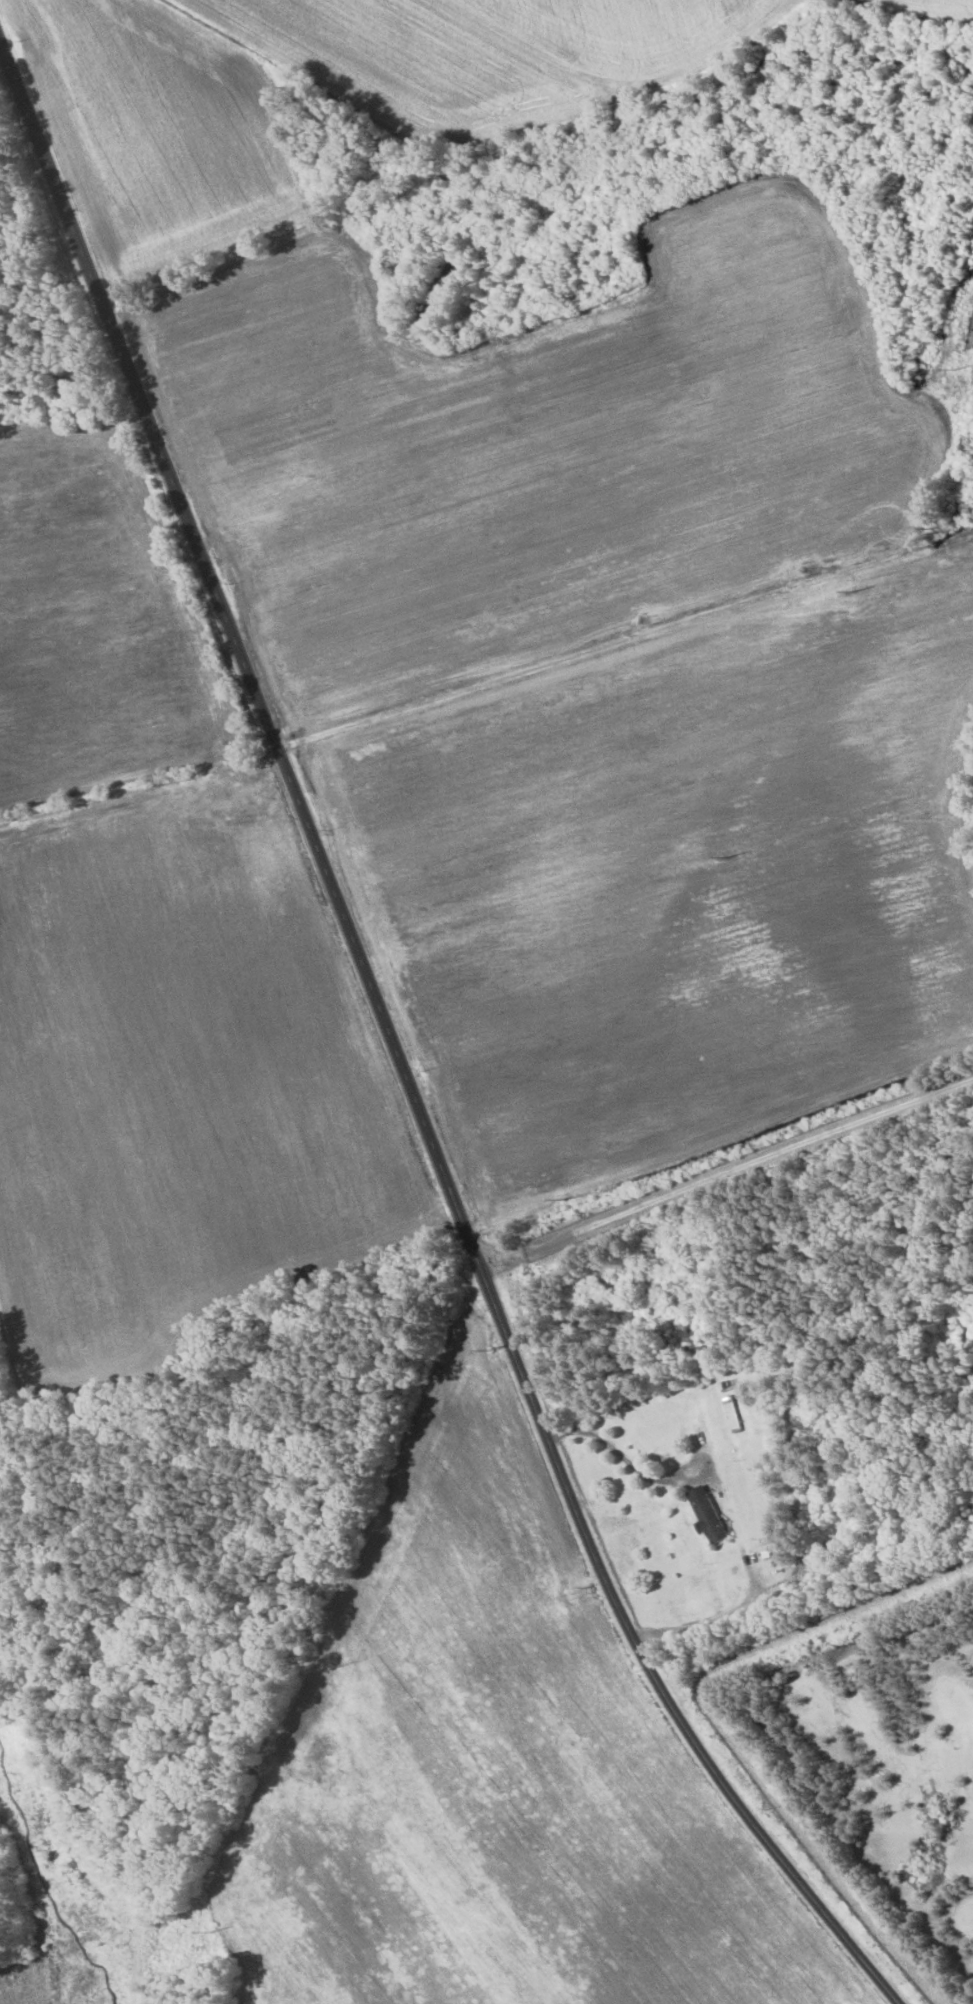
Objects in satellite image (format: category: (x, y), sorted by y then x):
road: (389, 1074)
building: (732, 1413)
building: (707, 1514)

